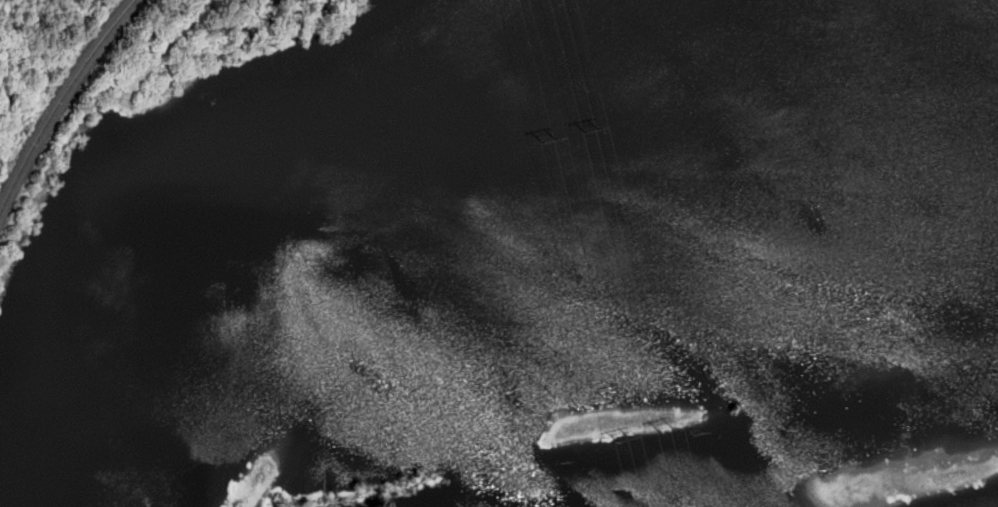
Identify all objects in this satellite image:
railway: (57, 101)
power tower: (604, 129)
power tower: (559, 140)
power tower: (678, 430)
power tower: (634, 442)
river: (747, 453)

